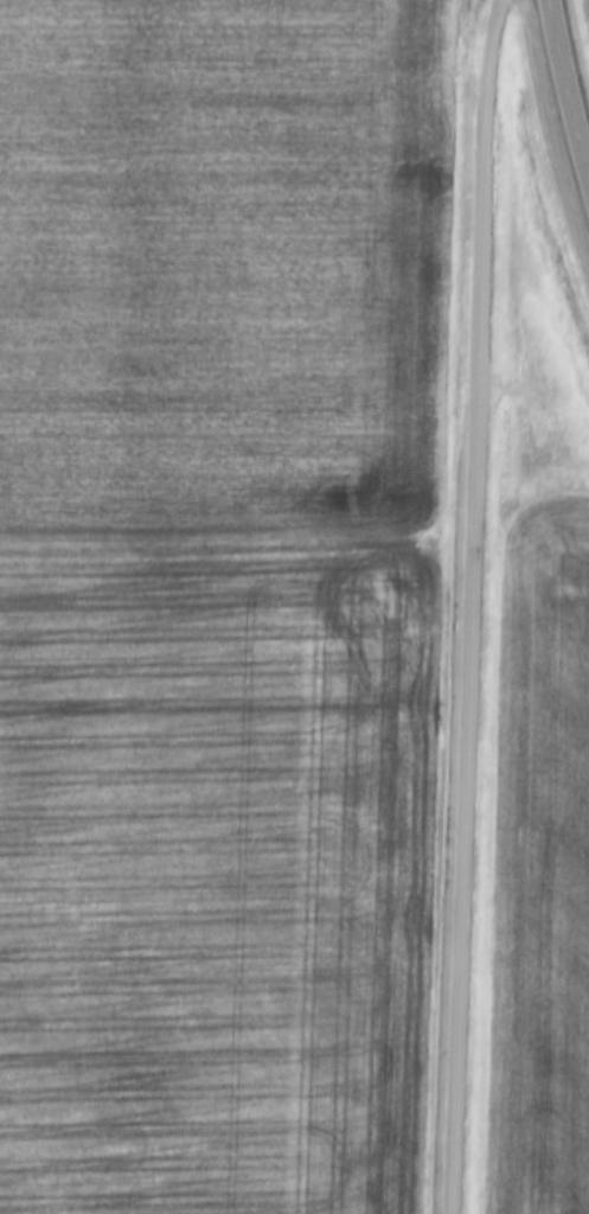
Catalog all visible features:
road: (568, 79)
crop: (220, 601)
road: (472, 606)
crop: (543, 867)

